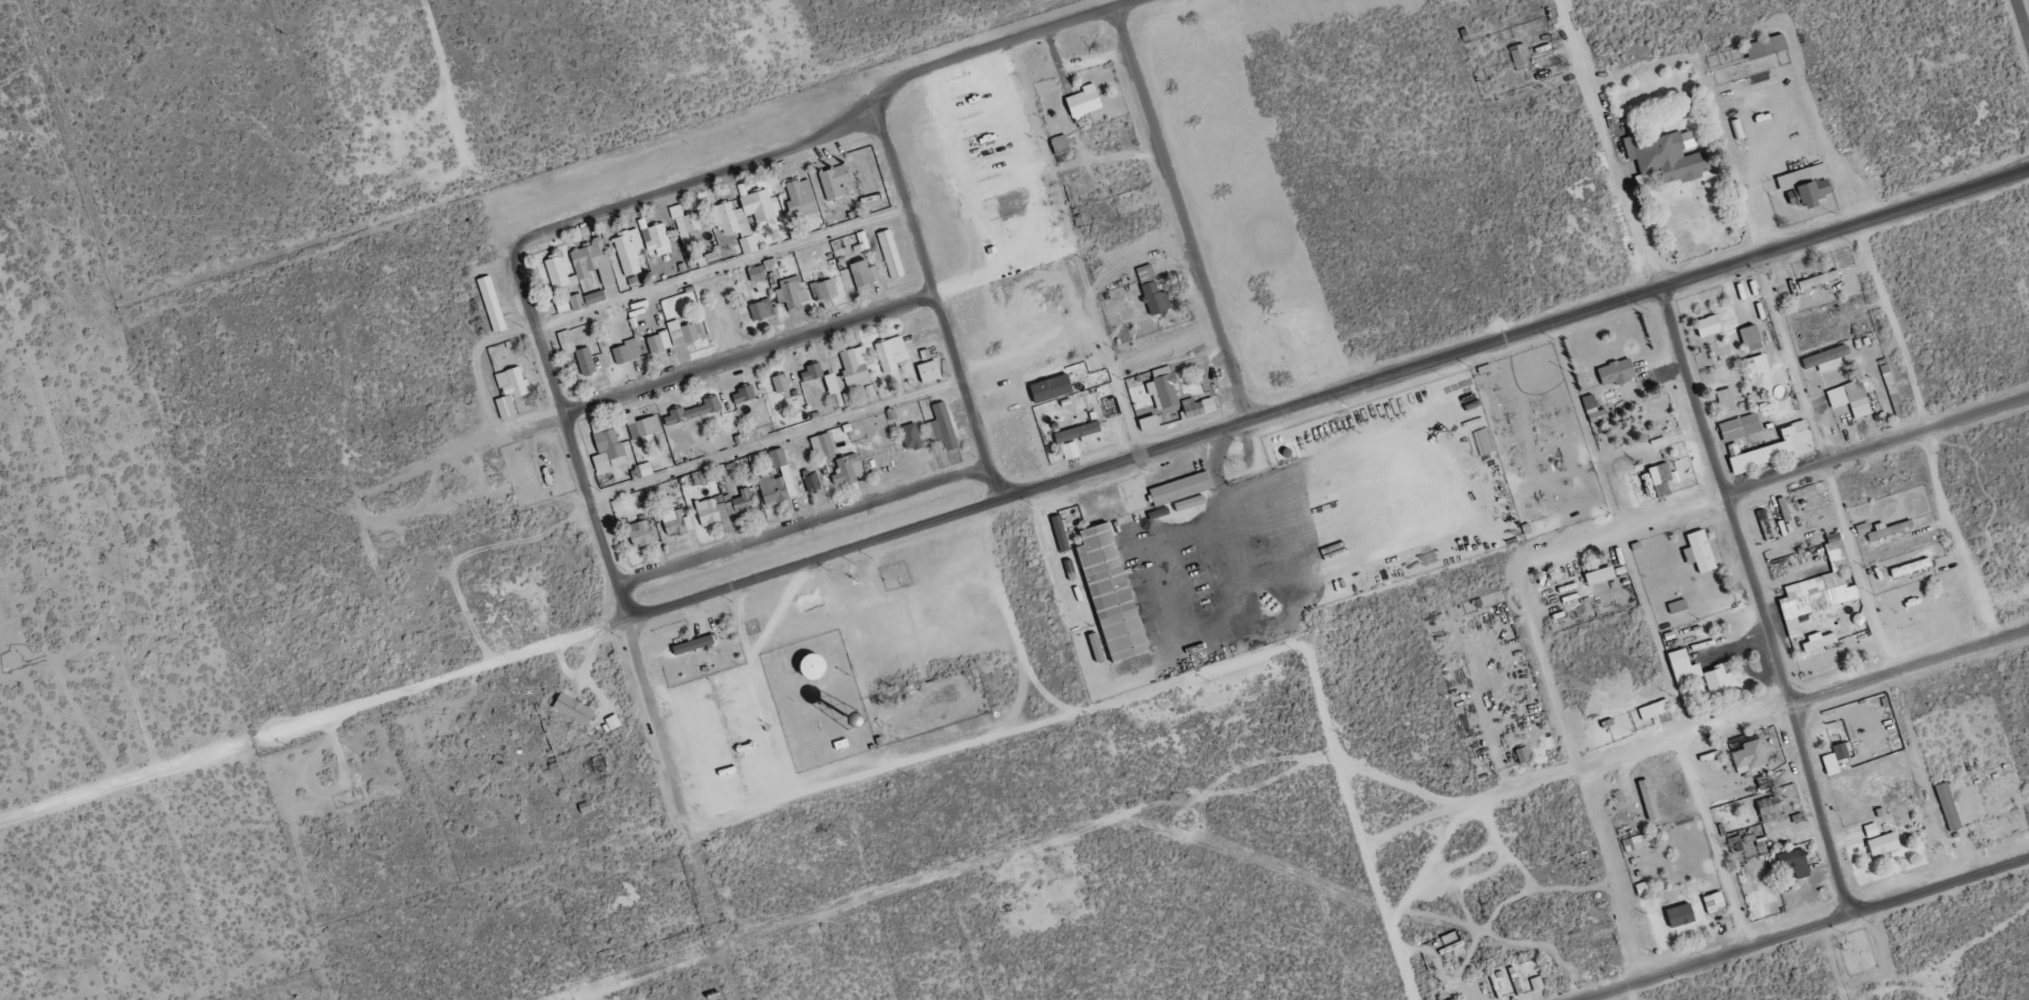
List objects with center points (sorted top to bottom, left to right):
road: (2020, 26)
building: (1769, 46)
building: (1521, 56)
building: (1086, 102)
building: (1738, 129)
road: (840, 138)
building: (1063, 144)
road: (1609, 147)
building: (1669, 157)
building: (836, 181)
building: (1808, 185)
building: (802, 198)
road: (904, 199)
road: (973, 204)
building: (745, 213)
building: (689, 227)
building: (657, 238)
building: (864, 240)
building: (749, 245)
building: (631, 251)
building: (892, 254)
road: (1059, 257)
building: (710, 259)
building: (597, 268)
road: (720, 269)
building: (764, 269)
building: (558, 272)
building: (867, 274)
building: (1821, 279)
building: (824, 289)
building: (1153, 291)
building: (793, 293)
building: (578, 301)
building: (493, 304)
building: (564, 305)
building: (762, 309)
building: (1711, 325)
building: (687, 331)
building: (1753, 337)
building: (568, 342)
building: (660, 342)
building: (628, 352)
building: (892, 353)
building: (1827, 358)
building: (587, 361)
road: (721, 363)
building: (1760, 365)
building: (856, 368)
road: (1794, 370)
building: (932, 371)
building: (813, 372)
building: (1619, 372)
building: (782, 383)
building: (1054, 388)
building: (1165, 388)
building: (512, 390)
building: (837, 392)
building: (745, 395)
building: (1854, 396)
road: (968, 400)
building: (1728, 400)
building: (1199, 407)
building: (1595, 409)
building: (695, 411)
building: (1152, 422)
building: (944, 424)
building: (1742, 427)
building: (644, 428)
building: (1076, 433)
building: (910, 434)
road: (1927, 435)
road: (775, 441)
building: (1484, 441)
building: (825, 446)
building: (1779, 448)
building: (609, 450)
building: (1072, 450)
road: (1145, 459)
building: (846, 467)
building: (643, 471)
building: (1664, 480)
building: (814, 483)
building: (1651, 484)
building: (772, 487)
building: (1183, 488)
building: (743, 500)
road: (1268, 504)
building: (1785, 509)
building: (707, 510)
building: (673, 521)
road: (1667, 523)
building: (1864, 528)
building: (1885, 531)
building: (639, 532)
building: (1062, 533)
road: (805, 534)
road: (601, 545)
building: (1701, 548)
building: (1913, 567)
building: (1602, 575)
building: (1821, 588)
building: (1109, 592)
building: (1680, 606)
road: (1751, 606)
building: (713, 634)
road: (1652, 638)
building: (1820, 641)
building: (696, 644)
building: (1142, 661)
building: (1686, 666)
building: (809, 667)
storage tank: (809, 667)
road: (1905, 669)
building: (1720, 679)
road: (765, 692)
building: (573, 708)
building: (1656, 709)
water tower: (852, 718)
road: (1050, 719)
building: (615, 722)
building: (1844, 750)
building: (1752, 756)
road: (1574, 777)
road: (1580, 778)
building: (1766, 781)
road: (131, 788)
building: (1651, 799)
building: (1950, 806)
building: (1773, 808)
road: (743, 812)
building: (1873, 830)
building: (1639, 842)
building: (1885, 844)
building: (1796, 863)
building: (1644, 888)
building: (1717, 902)
building: (1683, 915)
road: (719, 916)
road: (1810, 929)
building: (1538, 984)

